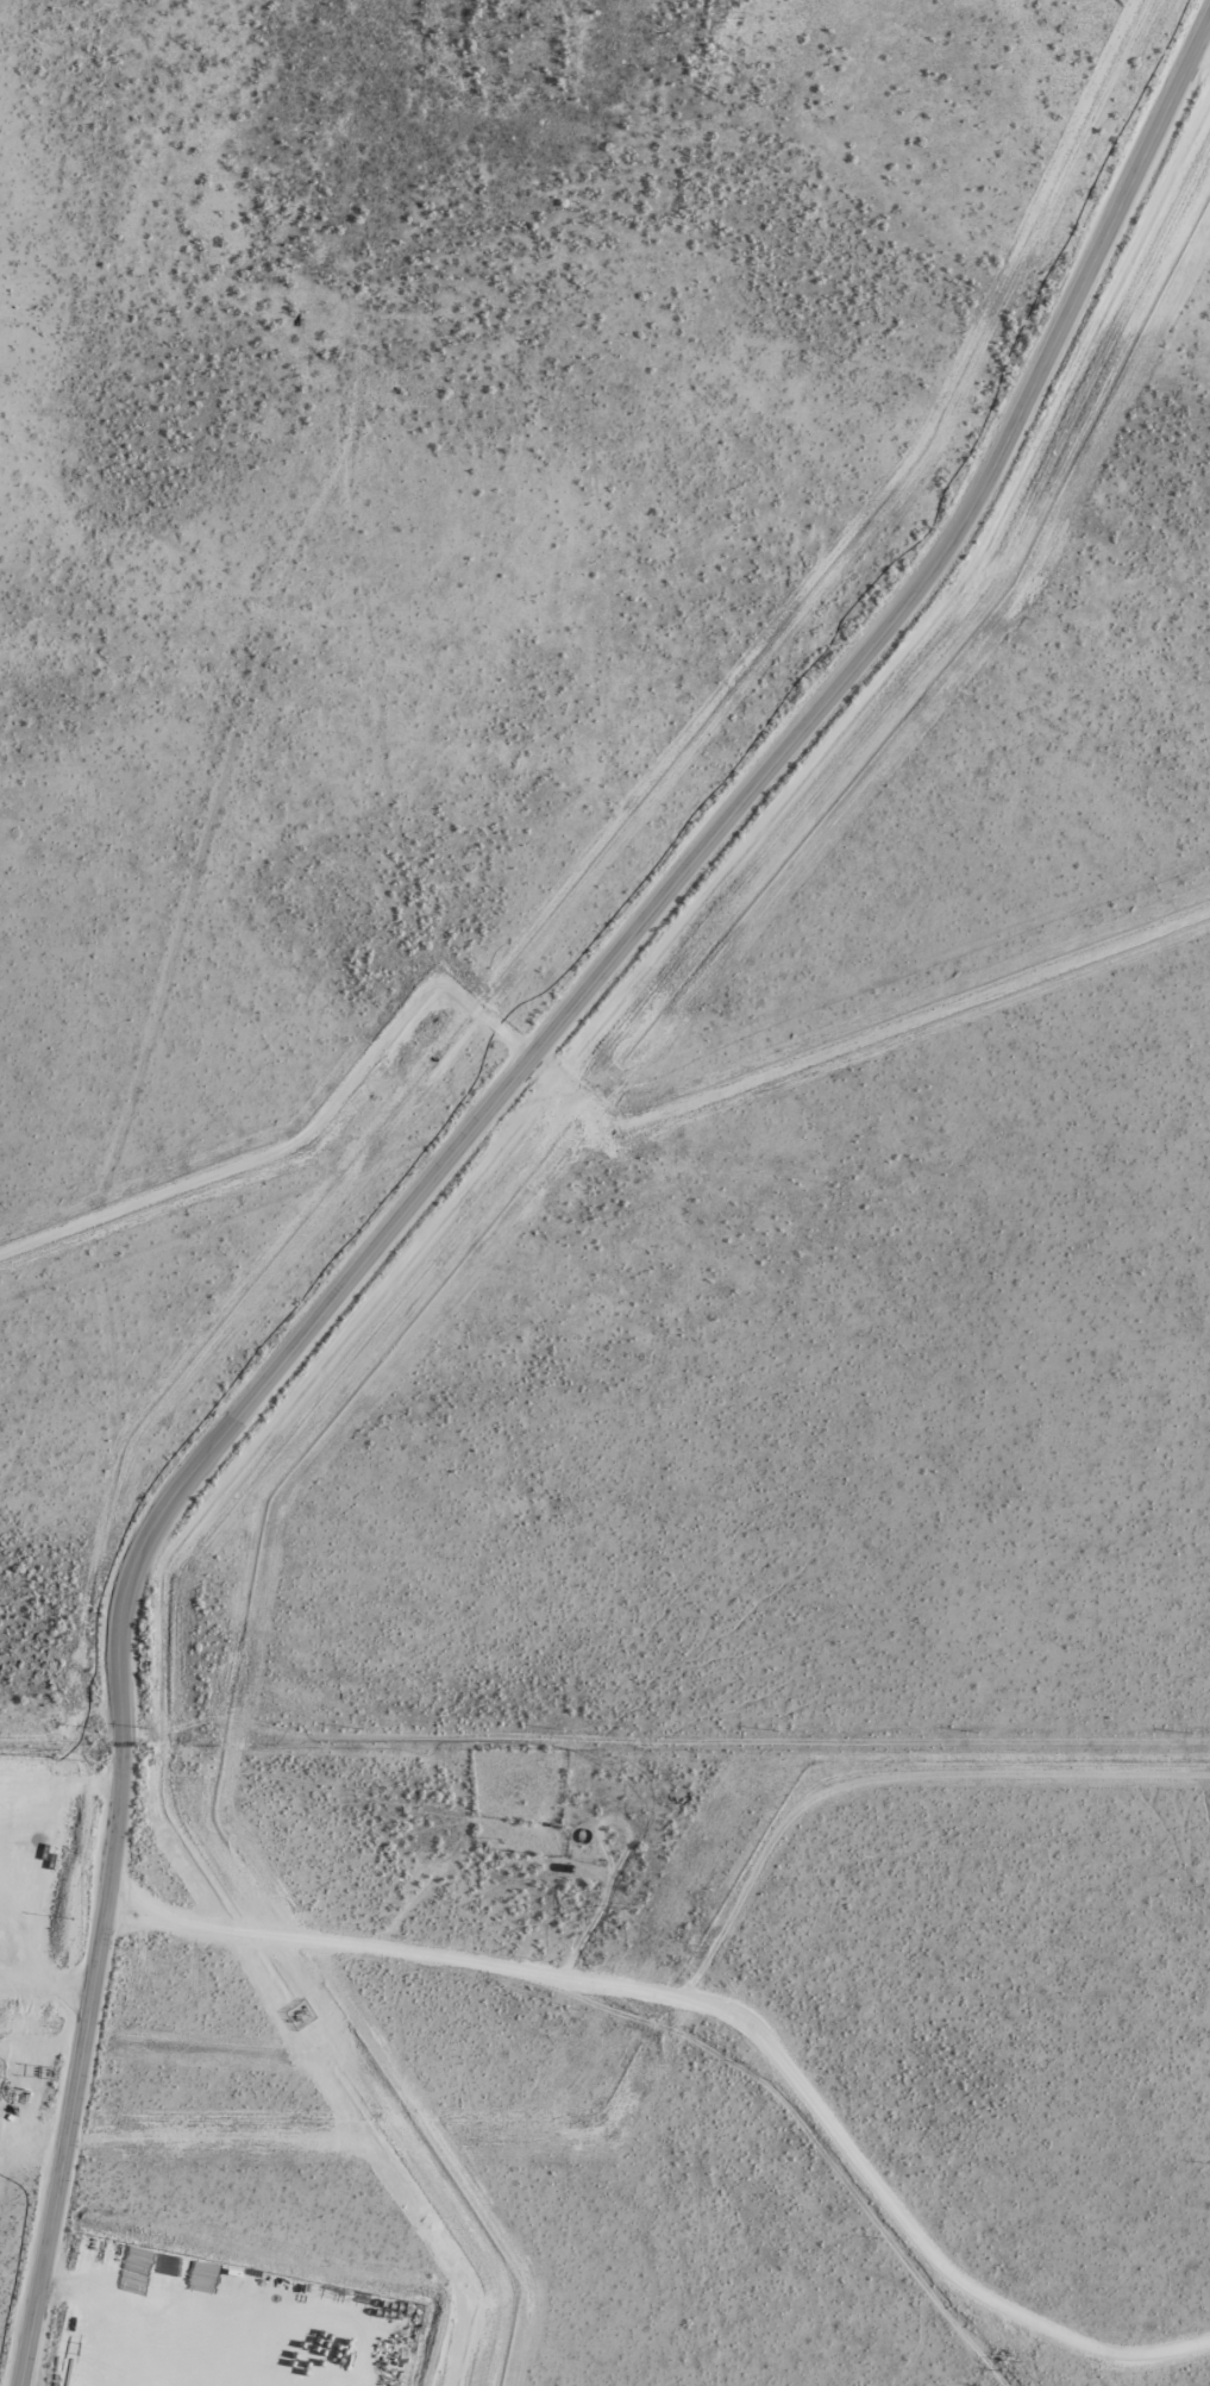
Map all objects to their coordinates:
road: (463, 1146)
road: (6, 1964)
road: (54, 1974)
road: (738, 1999)
road: (123, 2307)

